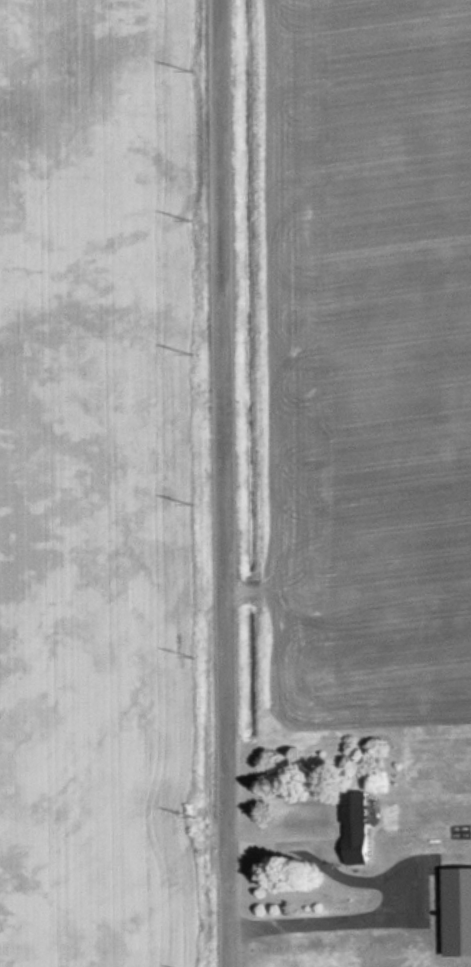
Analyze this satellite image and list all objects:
road: (227, 483)
building: (353, 828)
building: (455, 912)

